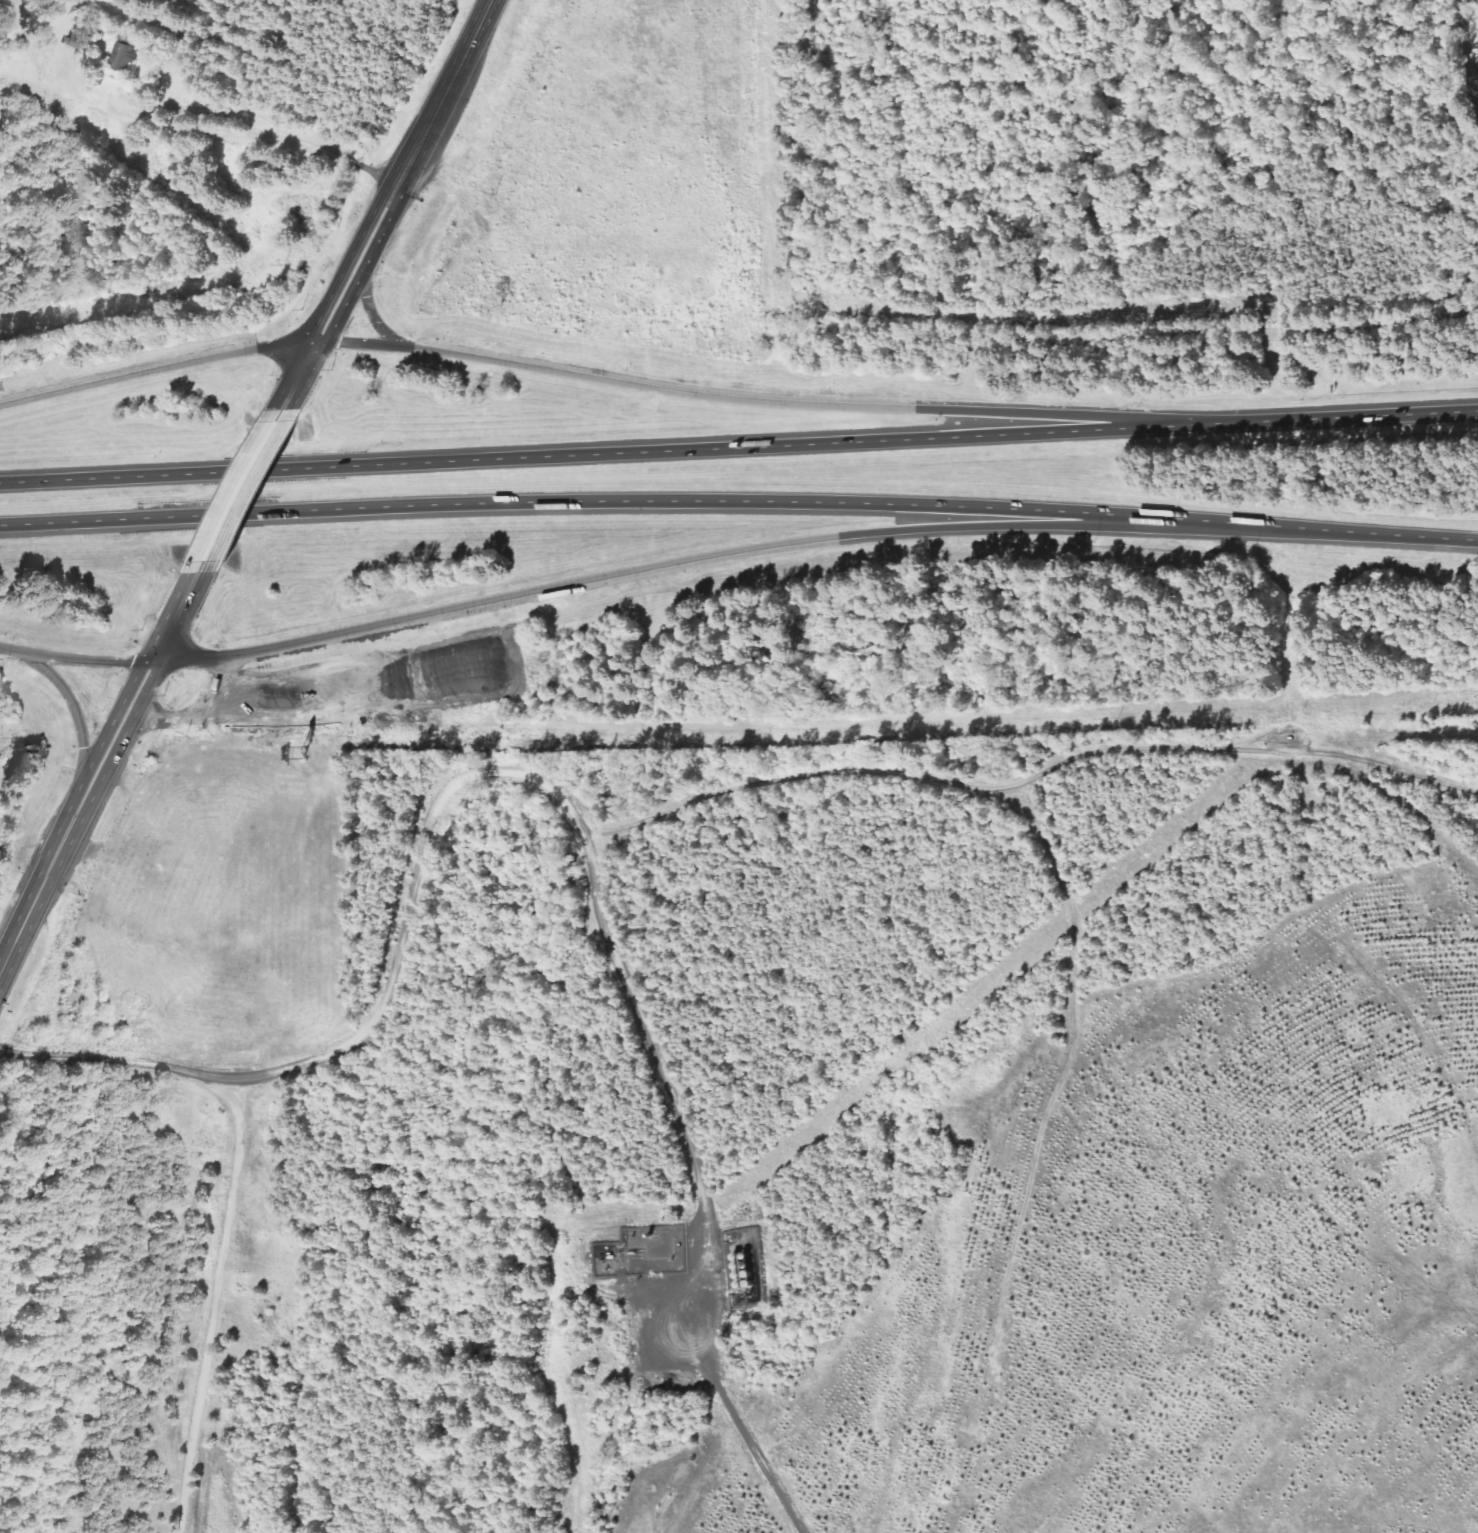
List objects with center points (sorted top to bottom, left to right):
building: (74, 41)
building: (124, 54)
road: (199, 143)
road: (385, 210)
road: (369, 305)
road: (360, 341)
road: (157, 369)
road: (825, 405)
road: (739, 446)
road: (238, 495)
road: (616, 500)
road: (1354, 530)
road: (688, 557)
road: (9, 650)
road: (85, 659)
road: (76, 713)
road: (98, 770)

